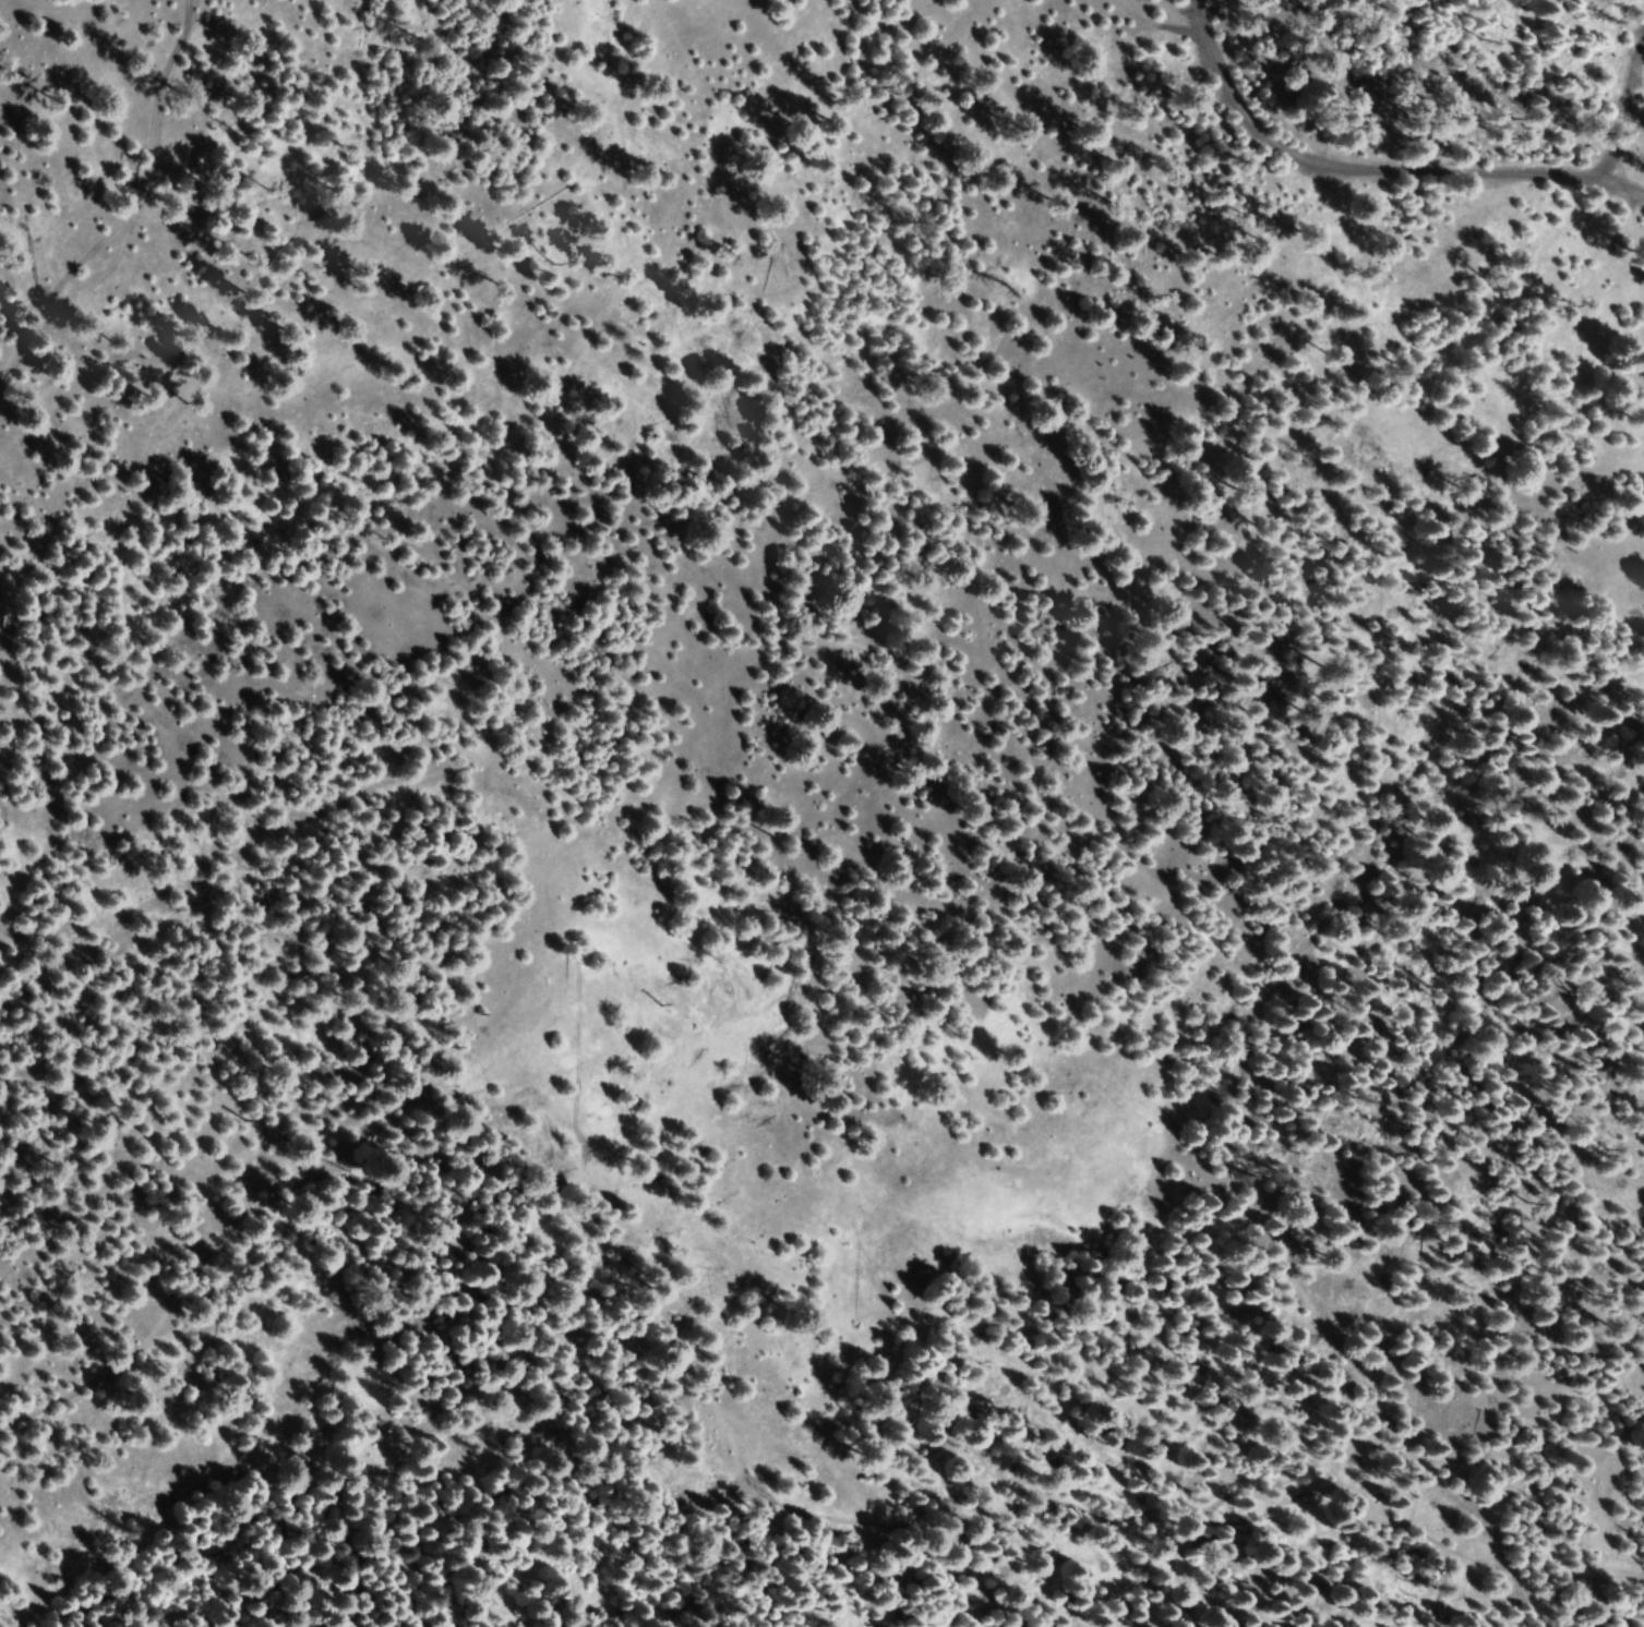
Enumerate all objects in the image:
road: (1635, 83)
road: (1622, 98)
road: (1373, 167)
road: (753, 1432)
road: (1545, 1596)

